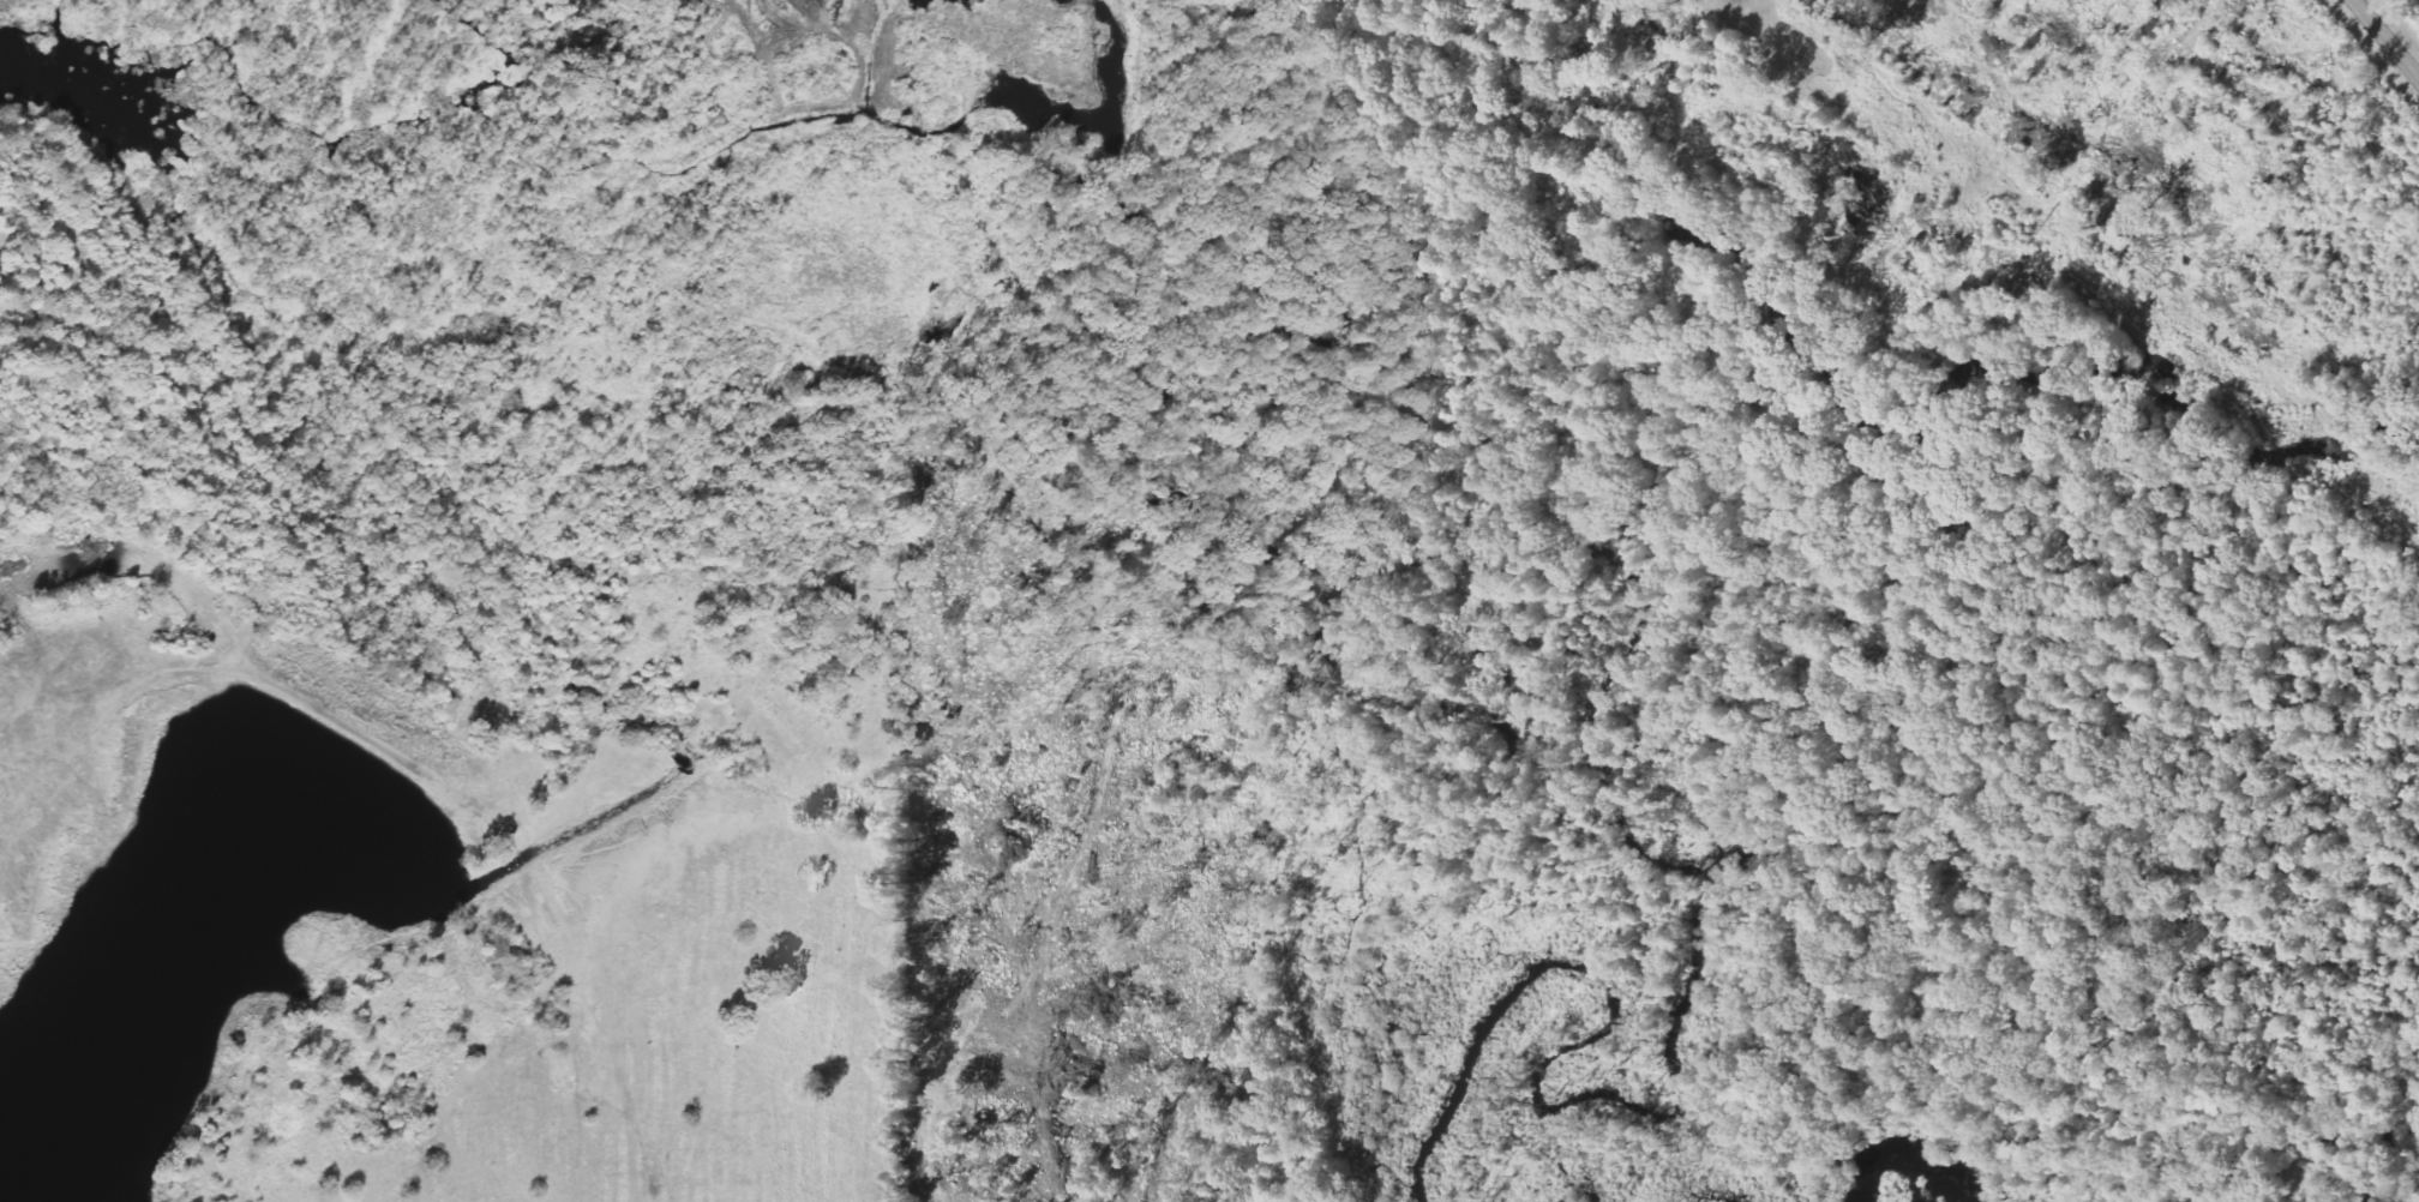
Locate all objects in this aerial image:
road: (2384, 41)
road: (1154, 67)
power tower: (2034, 232)
power tower: (2379, 505)

